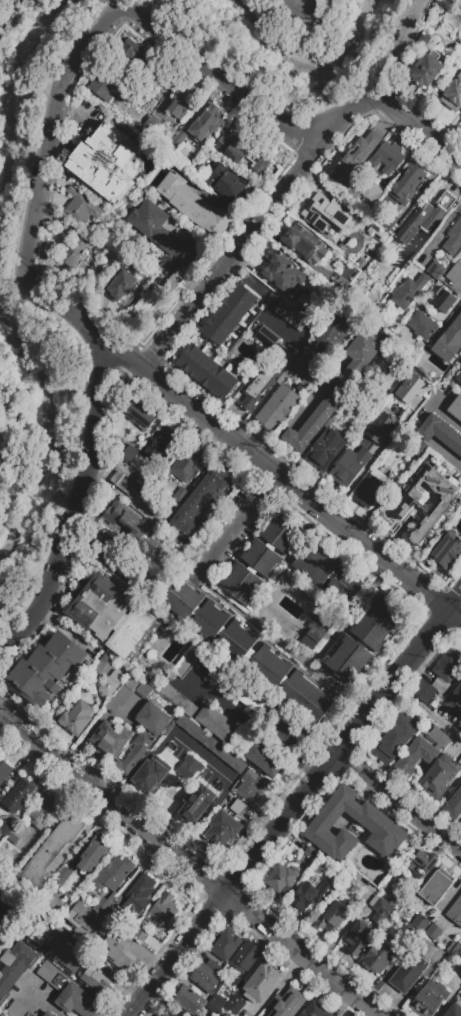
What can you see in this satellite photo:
road: (301, 1)
road: (119, 6)
road: (401, 47)
park: (293, 49)
building: (132, 51)
building: (426, 71)
road: (215, 72)
building: (162, 75)
building: (104, 86)
building: (452, 95)
building: (180, 106)
building: (152, 122)
building: (207, 123)
road: (422, 126)
building: (177, 140)
building: (222, 143)
building: (248, 155)
building: (356, 156)
building: (387, 157)
building: (106, 162)
road: (37, 181)
building: (222, 181)
building: (406, 182)
building: (193, 205)
building: (295, 205)
building: (81, 206)
road: (261, 214)
building: (327, 216)
building: (425, 217)
building: (390, 226)
road: (439, 231)
building: (378, 234)
building: (162, 235)
building: (363, 238)
building: (453, 238)
building: (80, 243)
building: (305, 245)
building: (460, 250)
building: (460, 251)
building: (169, 268)
building: (106, 269)
building: (435, 270)
building: (283, 272)
building: (454, 273)
building: (119, 286)
building: (171, 286)
building: (407, 290)
building: (243, 296)
road: (263, 300)
building: (443, 300)
building: (147, 303)
building: (230, 312)
building: (293, 314)
building: (422, 326)
building: (215, 331)
building: (332, 334)
building: (266, 336)
building: (449, 341)
road: (101, 353)
building: (189, 359)
road: (147, 362)
building: (205, 371)
building: (308, 378)
building: (458, 381)
building: (224, 385)
building: (411, 388)
building: (335, 389)
building: (253, 395)
building: (455, 408)
building: (275, 410)
building: (139, 415)
road: (292, 416)
road: (444, 417)
building: (377, 429)
building: (439, 433)
building: (159, 444)
building: (420, 449)
building: (325, 450)
building: (129, 453)
road: (448, 457)
building: (349, 466)
building: (185, 468)
building: (377, 474)
road: (358, 477)
building: (128, 479)
road: (279, 480)
building: (369, 491)
building: (181, 494)
building: (202, 499)
building: (449, 503)
building: (120, 514)
road: (71, 520)
road: (235, 527)
building: (281, 533)
park: (24, 538)
building: (110, 551)
building: (447, 551)
building: (261, 558)
building: (314, 563)
building: (241, 584)
building: (345, 584)
building: (182, 600)
building: (113, 616)
building: (209, 621)
road: (250, 621)
building: (378, 621)
building: (323, 624)
building: (318, 629)
building: (235, 641)
building: (309, 642)
building: (102, 663)
building: (448, 666)
building: (269, 668)
building: (47, 670)
building: (223, 679)
building: (323, 680)
building: (108, 685)
building: (144, 689)
building: (429, 689)
building: (122, 694)
building: (454, 700)
building: (253, 702)
road: (426, 713)
building: (76, 717)
building: (218, 723)
road: (248, 725)
building: (404, 727)
building: (290, 734)
building: (143, 735)
building: (108, 739)
building: (211, 743)
building: (387, 747)
building: (420, 751)
building: (264, 758)
building: (460, 761)
building: (188, 768)
building: (4, 771)
building: (150, 774)
building: (250, 777)
building: (438, 777)
building: (248, 791)
building: (16, 794)
building: (344, 801)
building: (196, 803)
road: (399, 803)
building: (454, 804)
building: (238, 806)
road: (294, 806)
building: (41, 811)
building: (228, 822)
building: (5, 827)
building: (380, 829)
building: (64, 833)
building: (218, 834)
building: (329, 835)
building: (92, 853)
building: (424, 860)
road: (188, 867)
building: (36, 868)
building: (113, 873)
building: (61, 877)
building: (281, 878)
building: (436, 885)
building: (389, 886)
building: (138, 893)
building: (311, 894)
building: (374, 901)
building: (161, 910)
building: (456, 910)
building: (382, 913)
building: (88, 915)
building: (332, 915)
building: (420, 924)
building: (34, 932)
building: (141, 934)
building: (434, 934)
building: (358, 937)
building: (226, 944)
building: (48, 949)
building: (456, 950)
building: (120, 952)
building: (381, 954)
building: (245, 958)
building: (14, 966)
building: (452, 971)
building: (408, 972)
building: (52, 975)
building: (205, 977)
building: (94, 979)
building: (262, 981)
building: (460, 995)
building: (429, 998)
building: (78, 1001)
building: (190, 1001)
road: (42, 1003)
building: (286, 1003)
building: (232, 1004)
building: (16, 1009)
building: (454, 1009)
building: (314, 1010)
building: (48, 1013)
building: (159, 1014)
building: (172, 1014)

